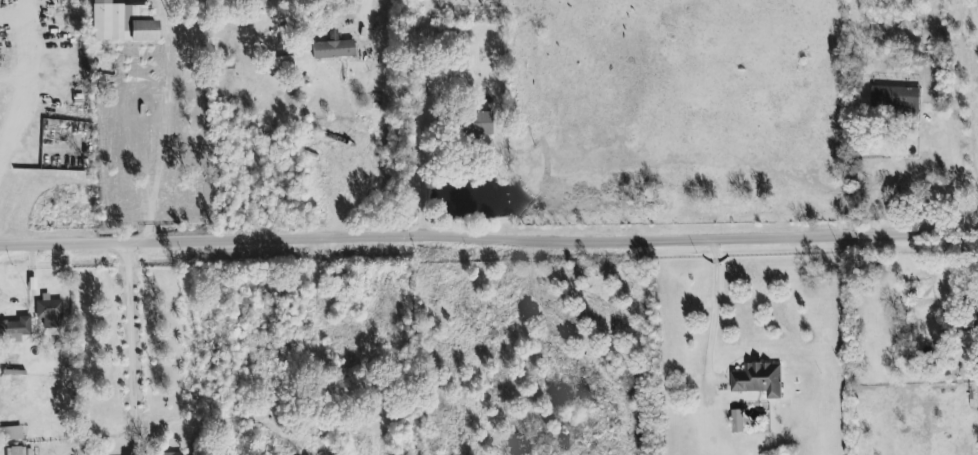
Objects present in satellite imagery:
road: (366, 9)
building: (122, 22)
building: (333, 48)
road: (31, 87)
building: (895, 97)
building: (479, 124)
road: (700, 237)
road: (211, 238)
road: (710, 304)
building: (50, 313)
building: (15, 329)
road: (134, 367)
building: (758, 378)
building: (737, 420)
building: (10, 433)
building: (15, 451)
building: (169, 453)

